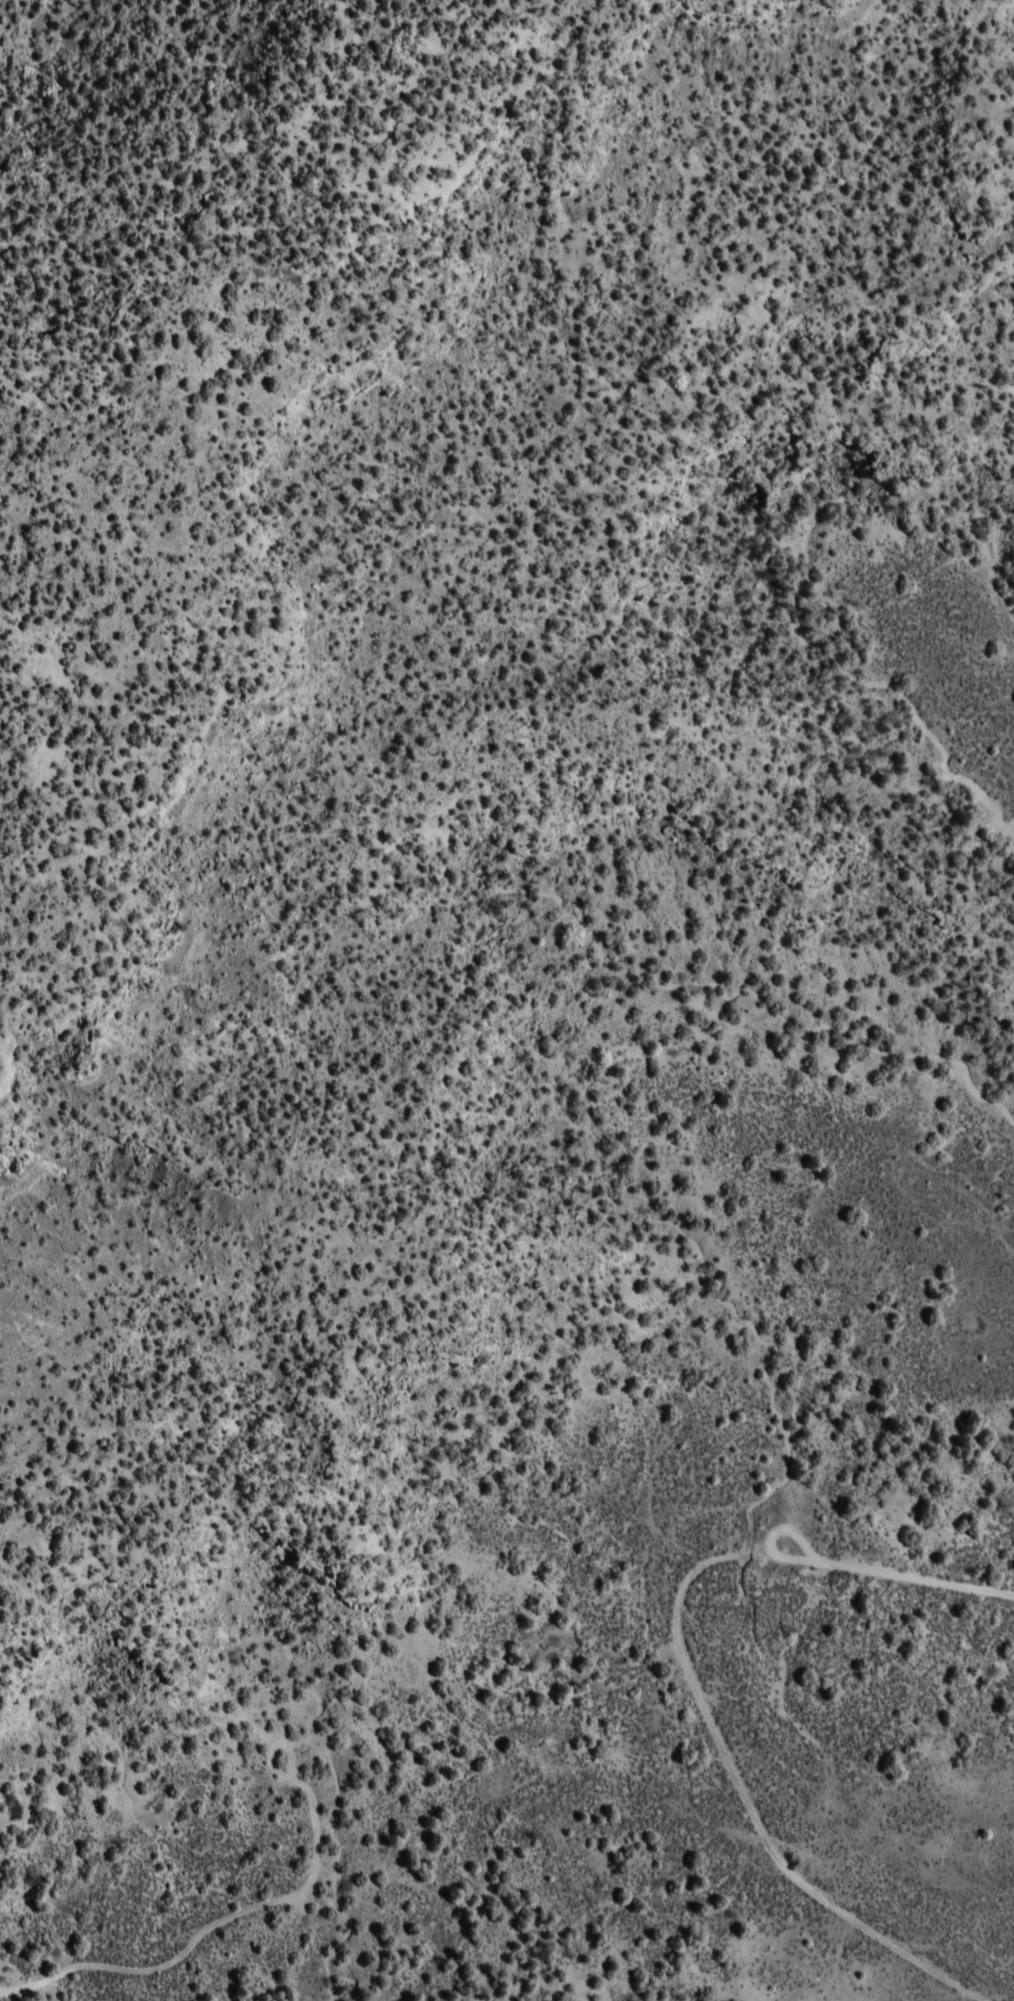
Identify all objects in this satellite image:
road: (724, 1718)

